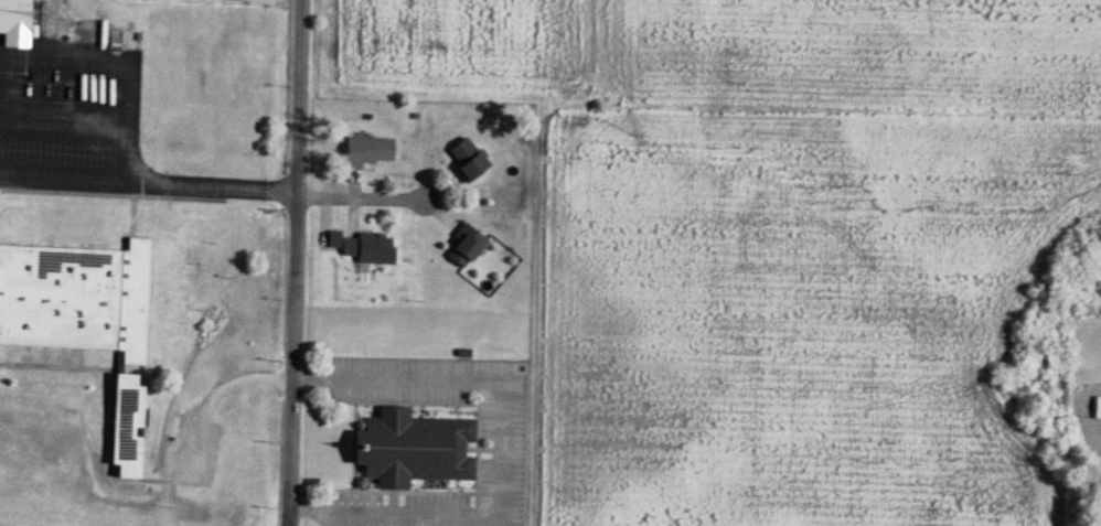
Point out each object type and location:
building: (13, 18)
building: (366, 152)
building: (464, 160)
road: (149, 185)
road: (361, 198)
building: (462, 246)
building: (362, 249)
building: (161, 261)
road: (296, 262)
building: (184, 264)
building: (75, 299)
building: (159, 314)
building: (183, 315)
road: (214, 393)
building: (1095, 409)
building: (410, 449)
road: (499, 454)

